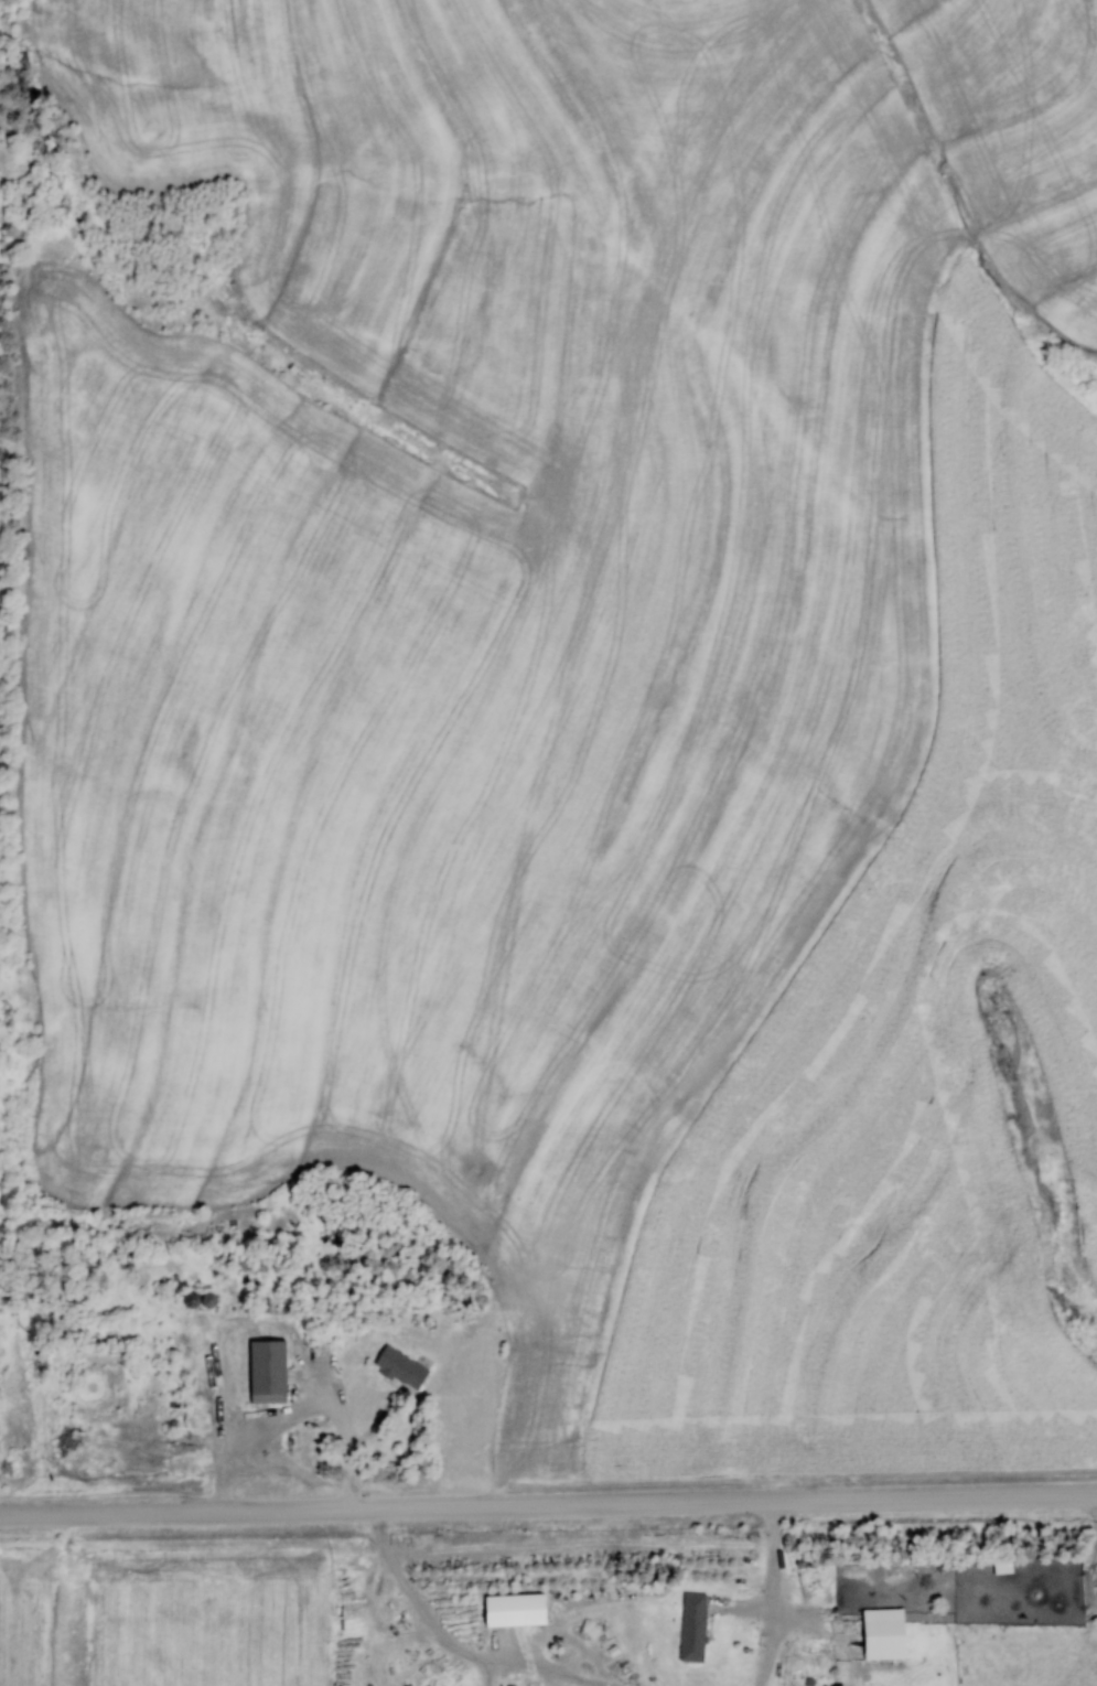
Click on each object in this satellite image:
building: (194, 1298)
building: (398, 1367)
building: (262, 1371)
road: (319, 1402)
building: (319, 1430)
road: (548, 1510)
road: (782, 1596)
building: (690, 1626)
building: (879, 1633)

